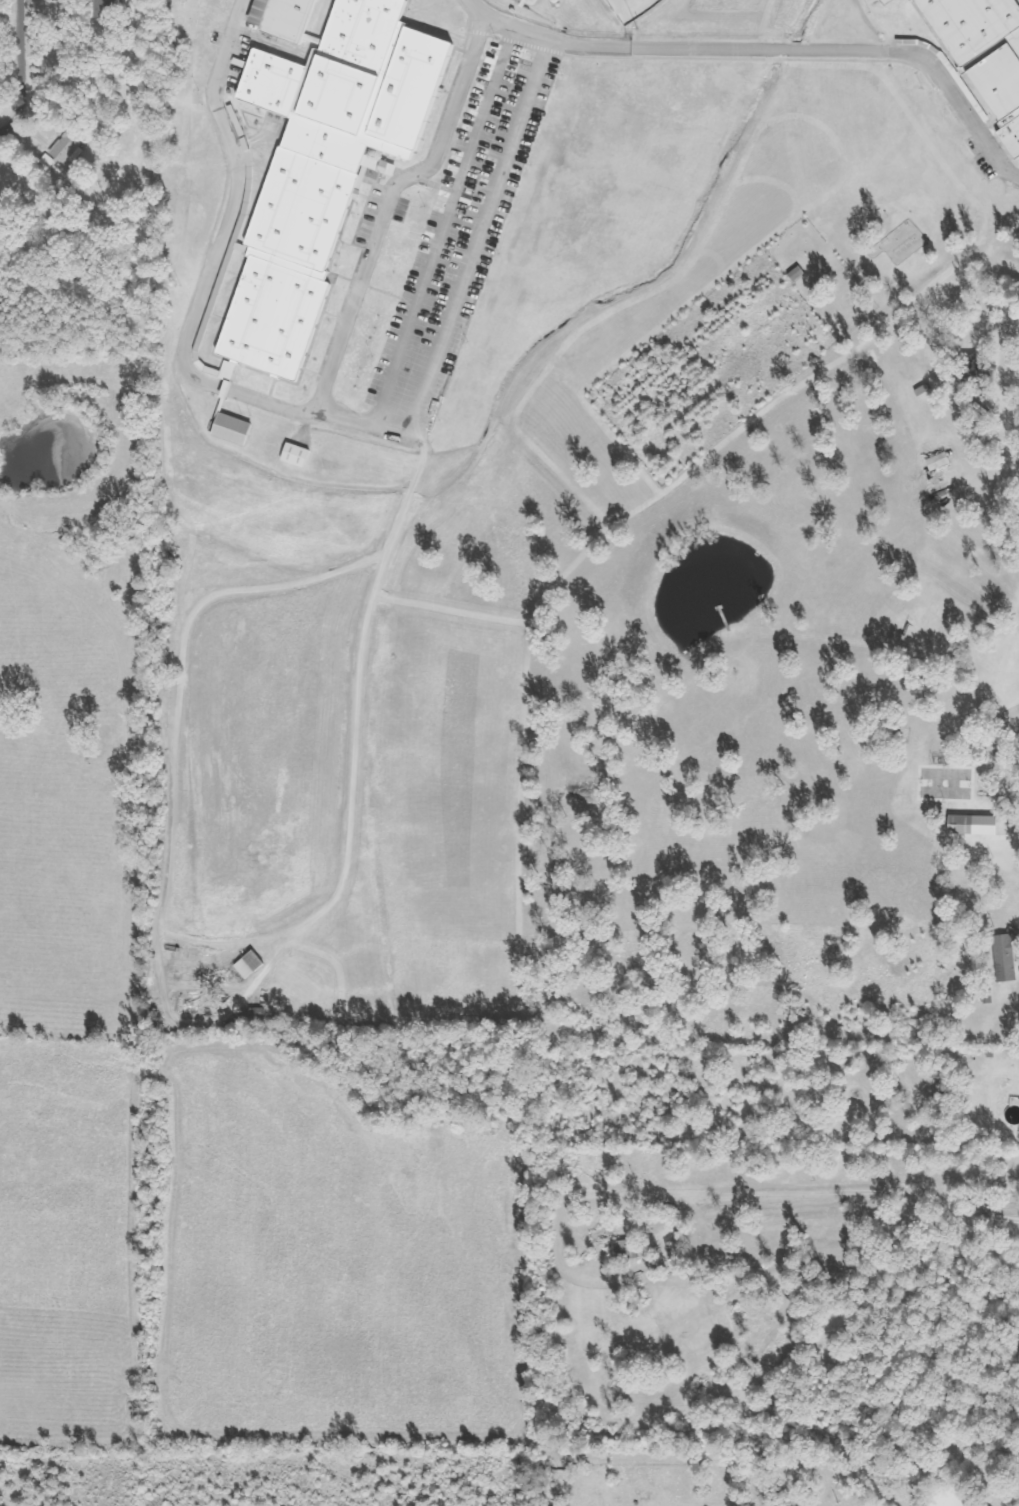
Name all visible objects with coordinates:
building: (886, 1)
building: (107, 8)
building: (288, 18)
road: (769, 50)
building: (984, 55)
road: (19, 70)
building: (66, 150)
building: (326, 167)
road: (445, 224)
building: (798, 274)
road: (466, 278)
building: (976, 369)
road: (274, 404)
building: (232, 429)
building: (298, 455)
building: (940, 462)
building: (973, 826)
building: (1007, 959)
building: (251, 965)
building: (633, 1250)

